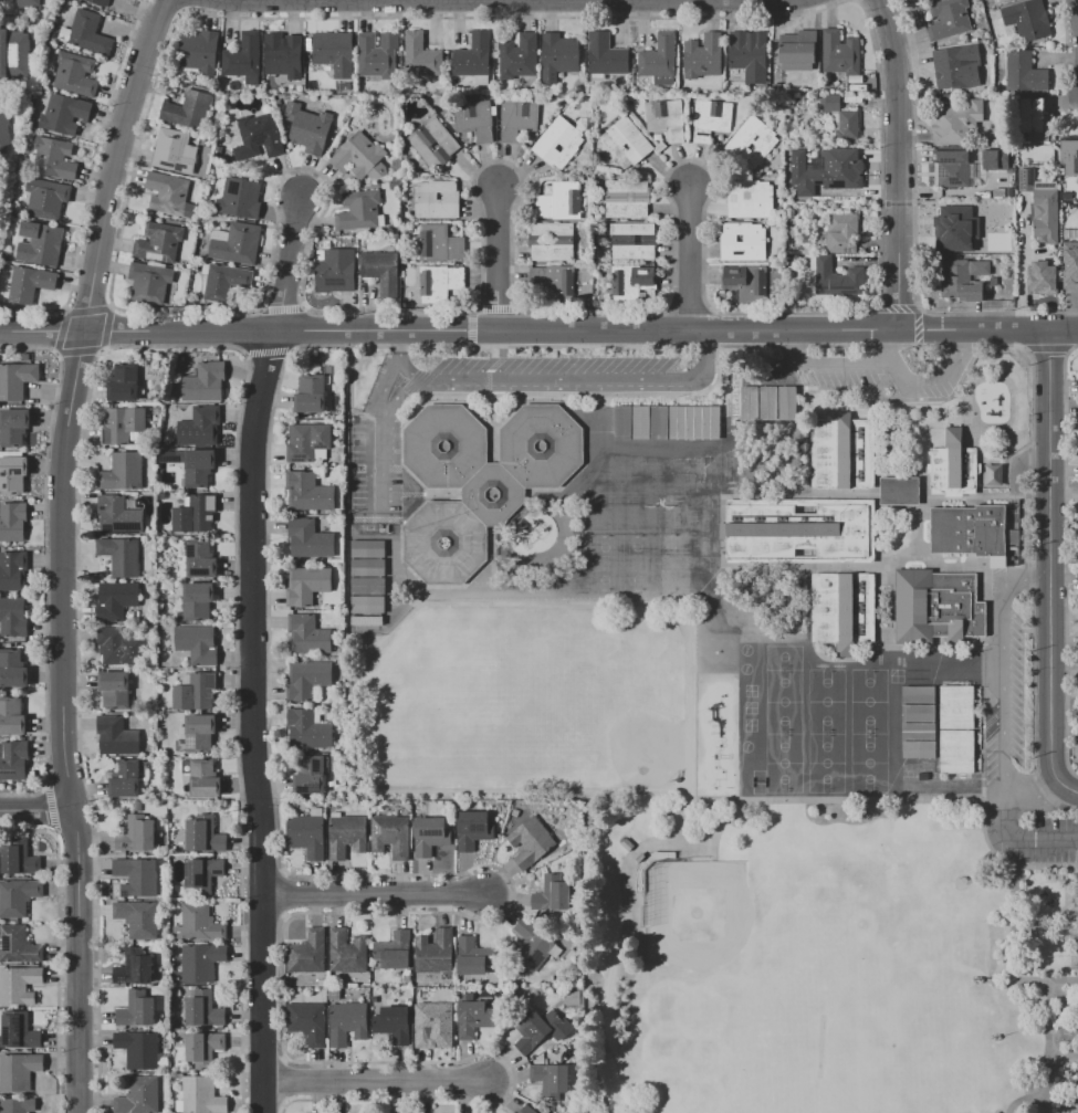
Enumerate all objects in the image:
road: (394, 0)
building: (1003, 1)
building: (98, 2)
building: (29, 3)
building: (949, 19)
building: (1028, 20)
building: (87, 32)
building: (745, 48)
building: (198, 51)
building: (334, 52)
building: (799, 52)
building: (840, 53)
building: (14, 54)
building: (606, 54)
building: (378, 55)
building: (558, 55)
building: (284, 56)
building: (421, 56)
building: (472, 56)
building: (519, 56)
building: (703, 56)
building: (243, 59)
building: (660, 59)
building: (954, 65)
building: (1024, 72)
building: (75, 74)
building: (833, 102)
building: (187, 108)
building: (64, 114)
building: (1033, 114)
building: (517, 118)
building: (666, 118)
building: (474, 119)
building: (712, 122)
building: (954, 122)
building: (844, 124)
building: (308, 127)
building: (6, 129)
building: (258, 135)
building: (753, 141)
building: (432, 143)
building: (558, 143)
building: (622, 144)
building: (174, 151)
building: (53, 157)
building: (360, 157)
building: (1070, 157)
building: (994, 159)
road: (114, 162)
road: (899, 165)
building: (951, 168)
building: (826, 169)
building: (626, 186)
building: (167, 192)
building: (1009, 192)
building: (997, 195)
building: (46, 198)
building: (240, 198)
building: (750, 198)
building: (436, 199)
building: (559, 201)
building: (1003, 206)
building: (358, 210)
building: (626, 210)
building: (1003, 214)
building: (1045, 216)
building: (950, 220)
building: (552, 229)
building: (631, 229)
building: (842, 233)
building: (159, 240)
building: (742, 241)
building: (439, 243)
building: (40, 244)
building: (238, 244)
building: (552, 252)
building: (634, 253)
building: (1069, 256)
road: (692, 258)
road: (498, 259)
road: (1019, 263)
road: (291, 264)
building: (335, 271)
building: (380, 271)
building: (837, 279)
building: (963, 279)
building: (1042, 279)
building: (149, 281)
building: (441, 282)
building: (619, 282)
building: (641, 282)
building: (561, 284)
building: (29, 285)
building: (229, 285)
building: (751, 286)
road: (41, 330)
road: (579, 332)
road: (882, 347)
road: (883, 364)
road: (555, 377)
building: (15, 379)
building: (123, 382)
building: (205, 384)
building: (311, 393)
building: (768, 403)
building: (667, 422)
building: (123, 426)
building: (13, 427)
building: (200, 427)
road: (386, 434)
building: (310, 442)
building: (845, 454)
building: (193, 465)
building: (953, 465)
building: (122, 472)
building: (12, 474)
building: (993, 474)
building: (479, 481)
building: (898, 491)
building: (308, 492)
building: (196, 513)
building: (117, 515)
building: (12, 521)
building: (970, 529)
building: (798, 531)
building: (308, 539)
road: (1051, 550)
building: (121, 556)
building: (366, 557)
building: (200, 559)
park: (605, 563)
park: (638, 563)
park: (671, 563)
road: (61, 568)
building: (12, 570)
building: (306, 585)
building: (366, 586)
building: (198, 591)
building: (116, 599)
building: (366, 603)
building: (936, 607)
building: (842, 609)
building: (197, 611)
road: (404, 611)
building: (13, 617)
building: (365, 620)
building: (307, 634)
building: (197, 644)
building: (118, 647)
park: (784, 658)
building: (12, 670)
road: (1007, 670)
building: (307, 679)
building: (114, 690)
building: (196, 692)
building: (869, 694)
park: (784, 702)
park: (826, 702)
park: (869, 702)
building: (869, 713)
building: (11, 716)
parking lot: (1007, 717)
road: (255, 720)
building: (919, 722)
park: (621, 728)
building: (307, 729)
building: (956, 729)
building: (1077, 729)
building: (869, 731)
building: (199, 733)
building: (116, 736)
building: (869, 749)
building: (13, 759)
park: (784, 763)
park: (826, 763)
park: (869, 763)
building: (869, 767)
building: (914, 767)
building: (308, 774)
building: (125, 778)
building: (203, 778)
road: (1059, 787)
road: (1032, 790)
road: (36, 810)
building: (473, 829)
building: (136, 834)
building: (203, 834)
building: (306, 834)
building: (346, 836)
building: (390, 836)
building: (429, 836)
road: (690, 836)
road: (1019, 840)
parking lot: (1037, 840)
building: (530, 841)
building: (627, 844)
building: (19, 858)
road: (1044, 868)
building: (201, 875)
building: (136, 878)
road: (1067, 878)
building: (552, 893)
building: (17, 896)
road: (374, 899)
road: (1057, 914)
building: (137, 918)
building: (200, 923)
park: (710, 924)
road: (1066, 925)
road: (1038, 926)
building: (18, 945)
building: (531, 945)
building: (394, 951)
building: (347, 952)
building: (433, 952)
building: (307, 953)
building: (472, 957)
park: (835, 958)
road: (1074, 958)
road: (79, 960)
building: (201, 962)
building: (133, 967)
road: (1016, 968)
road: (1060, 983)
building: (19, 985)
building: (202, 1008)
building: (136, 1009)
building: (472, 1016)
building: (307, 1021)
building: (346, 1022)
building: (432, 1022)
building: (394, 1023)
building: (537, 1029)
park: (826, 1029)
building: (19, 1031)
building: (203, 1046)
building: (138, 1049)
building: (19, 1071)
road: (1046, 1077)
building: (552, 1081)
road: (375, 1083)
park: (928, 1091)
building: (138, 1096)
building: (200, 1096)
road: (1028, 1098)
building: (12, 1105)
park: (1067, 1105)
building: (526, 1110)

